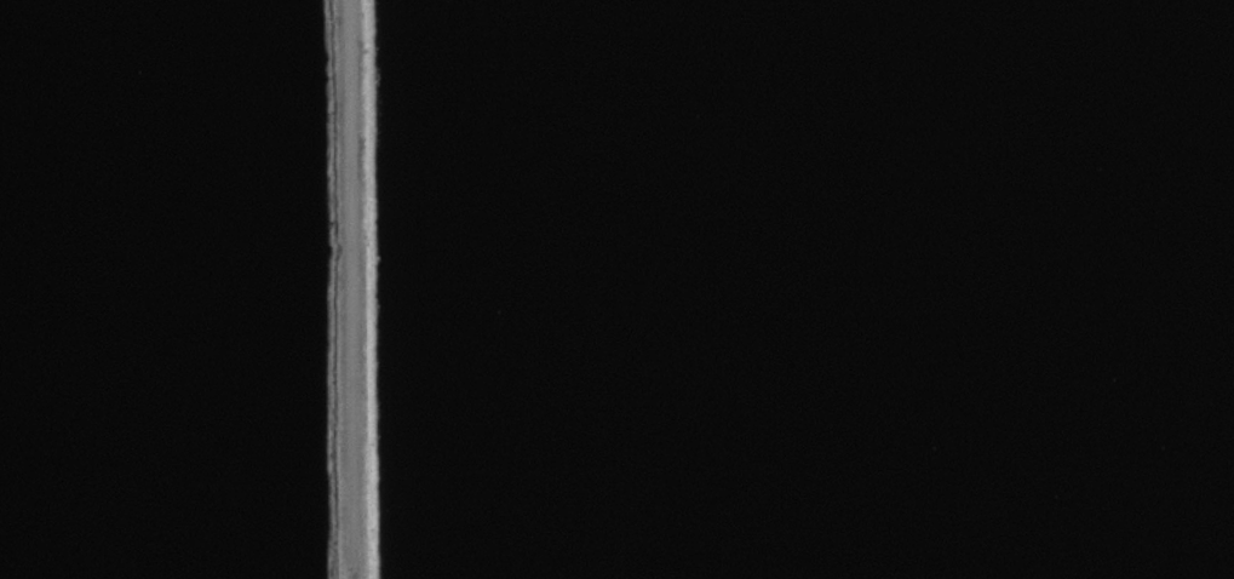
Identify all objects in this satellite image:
road: (349, 289)
wastewater plant: (616, 289)

